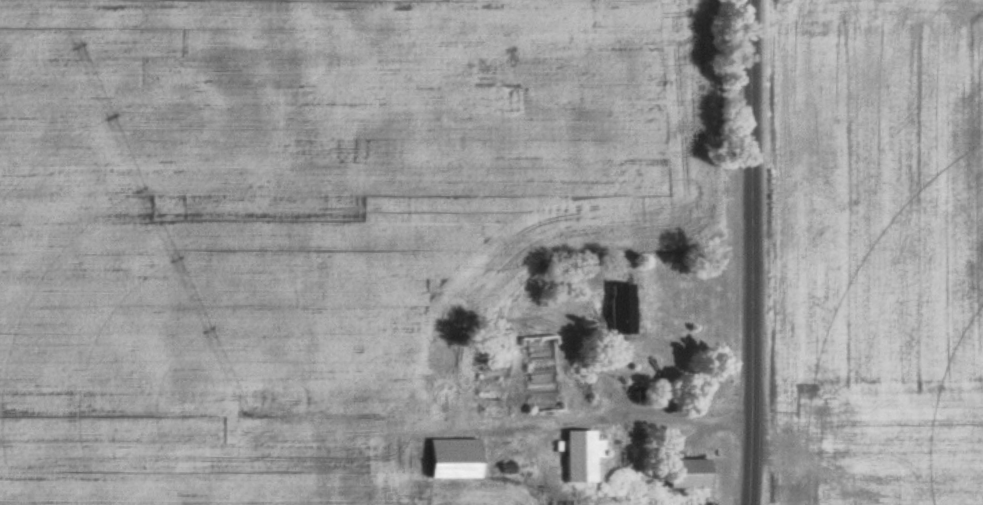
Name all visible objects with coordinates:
road: (763, 252)
building: (619, 308)
road: (689, 397)
building: (822, 421)
building: (580, 455)
building: (450, 458)
building: (685, 473)

